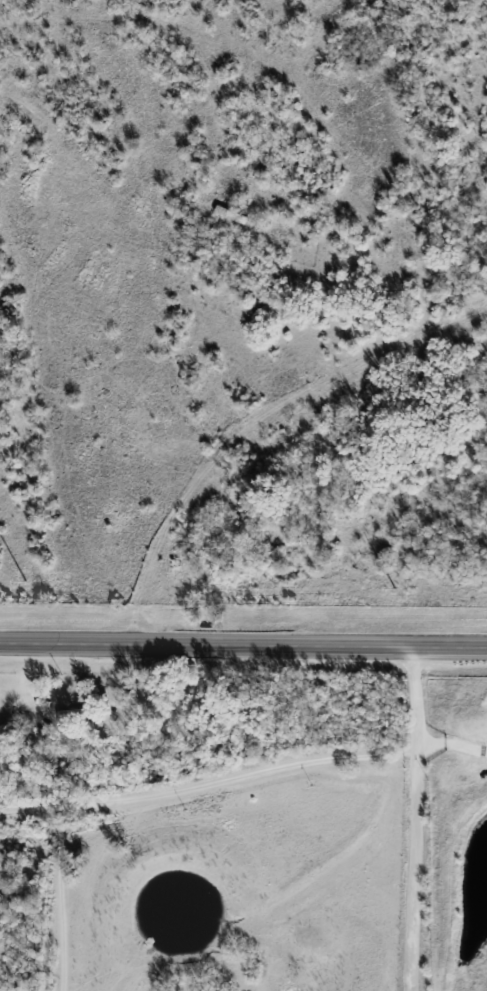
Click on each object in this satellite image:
power tower: (28, 583)
power tower: (399, 591)
road: (243, 646)
building: (69, 713)
road: (455, 747)
road: (153, 796)
road: (425, 819)

